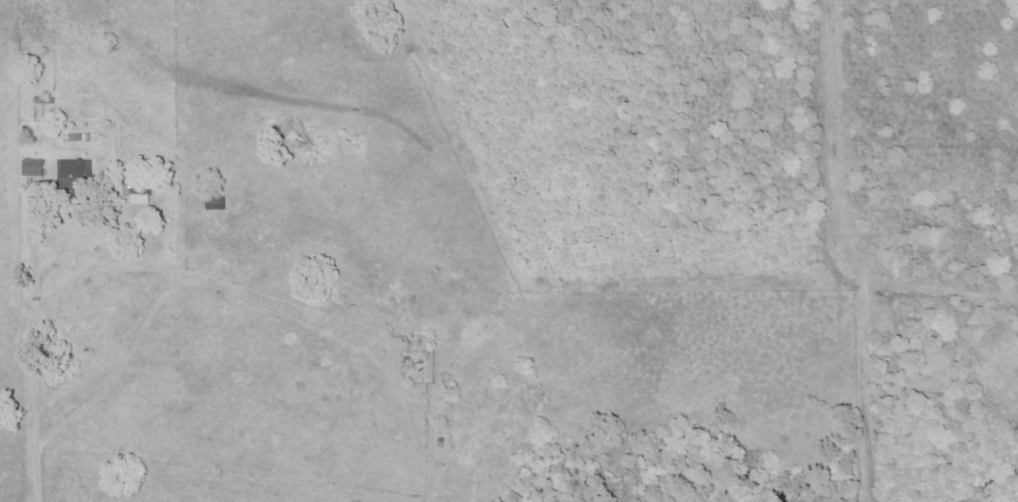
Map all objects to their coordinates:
building: (75, 174)
building: (142, 193)
road: (34, 309)
road: (40, 457)

